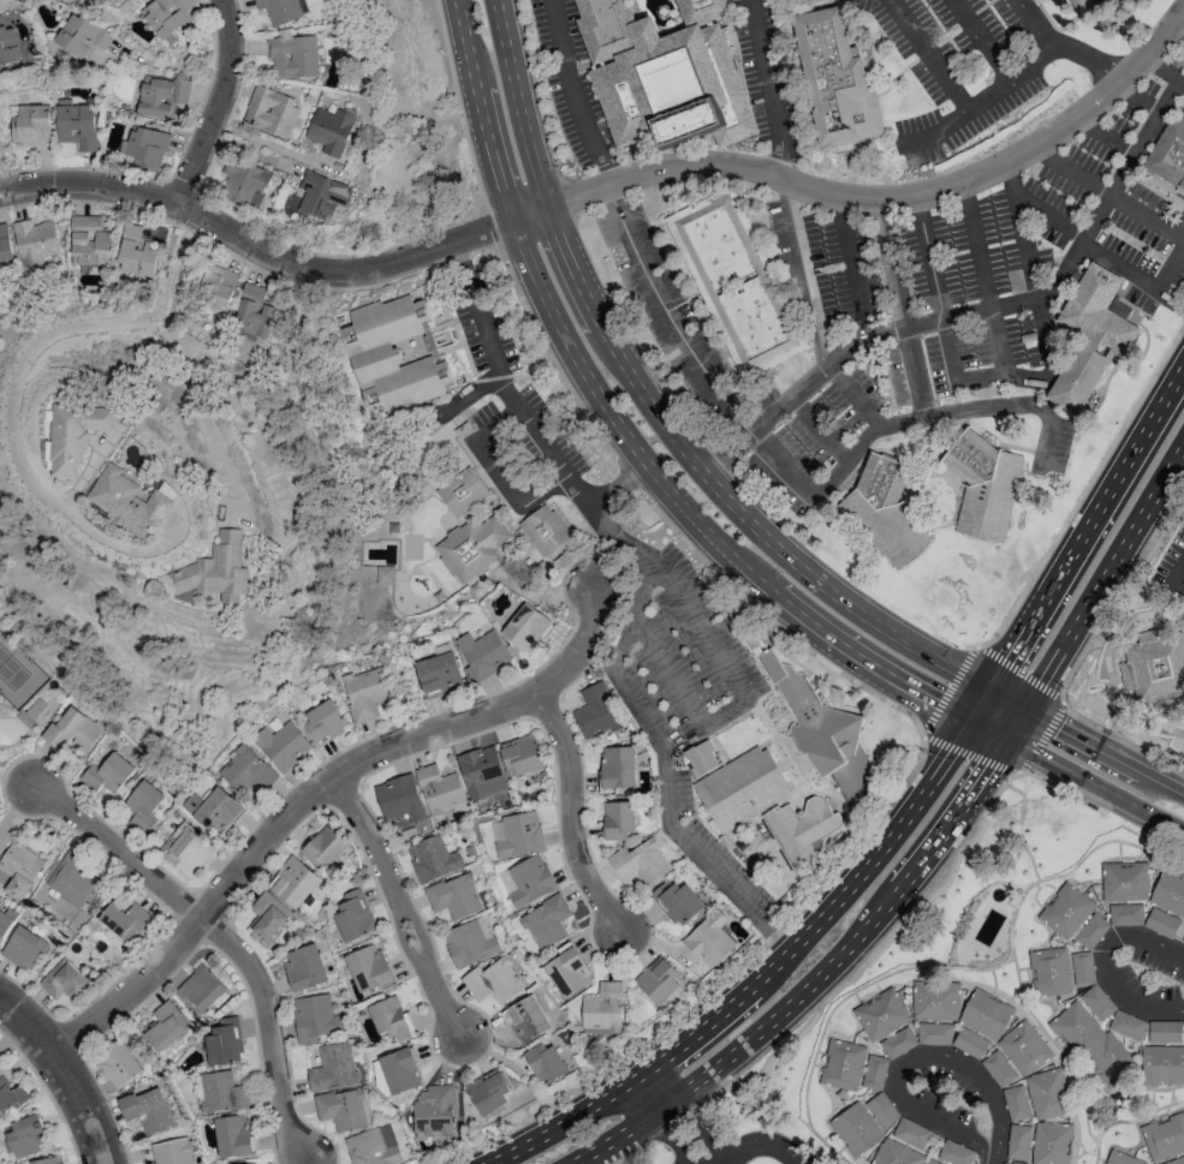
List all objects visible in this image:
building: (801, 1)
building: (1082, 5)
building: (279, 10)
road: (1183, 14)
building: (166, 16)
road: (1030, 25)
building: (82, 36)
road: (981, 41)
building: (7, 46)
road: (927, 55)
building: (292, 56)
road: (1089, 59)
road: (169, 65)
road: (1162, 68)
building: (664, 70)
road: (767, 76)
building: (835, 79)
road: (1180, 80)
road: (573, 94)
building: (160, 96)
road: (457, 103)
road: (219, 105)
road: (975, 106)
building: (269, 112)
building: (28, 125)
building: (75, 125)
building: (329, 130)
building: (145, 148)
road: (1042, 153)
building: (1168, 155)
road: (777, 165)
road: (2, 180)
road: (1010, 180)
building: (244, 183)
road: (609, 193)
road: (963, 196)
road: (875, 197)
road: (1115, 199)
road: (917, 203)
road: (1049, 214)
road: (487, 228)
building: (34, 241)
building: (88, 241)
building: (5, 245)
road: (256, 249)
building: (136, 251)
road: (327, 255)
road: (258, 265)
road: (852, 265)
road: (1119, 268)
road: (1171, 271)
road: (803, 274)
building: (736, 283)
building: (214, 288)
road: (334, 288)
road: (1035, 289)
road: (987, 292)
road: (938, 298)
road: (902, 308)
building: (255, 312)
road: (975, 312)
road: (672, 322)
building: (1090, 336)
building: (391, 357)
road: (995, 377)
road: (17, 384)
road: (853, 398)
road: (652, 410)
road: (520, 413)
road: (941, 414)
road: (202, 416)
road: (619, 428)
road: (820, 430)
building: (77, 435)
road: (781, 461)
road: (496, 473)
building: (986, 487)
road: (1083, 489)
building: (462, 493)
building: (132, 500)
building: (886, 511)
building: (543, 530)
road: (1079, 545)
building: (471, 548)
building: (213, 572)
building: (383, 575)
road: (1102, 575)
road: (1177, 575)
road: (1177, 591)
building: (525, 627)
building: (481, 653)
road: (1082, 653)
building: (1155, 667)
building: (439, 675)
building: (363, 693)
traffic signals: (989, 693)
road: (1006, 702)
road: (738, 703)
traffic signals: (1023, 710)
building: (31, 711)
building: (595, 711)
traffic signals: (972, 718)
building: (323, 721)
road: (1015, 723)
road: (648, 727)
road: (926, 727)
road: (989, 728)
building: (72, 730)
building: (821, 732)
road: (921, 733)
traffic signals: (1006, 738)
building: (281, 745)
road: (1103, 751)
building: (519, 756)
building: (701, 758)
building: (617, 766)
building: (245, 770)
building: (481, 772)
building: (107, 774)
road: (18, 778)
road: (1052, 784)
road: (1094, 784)
road: (315, 789)
building: (439, 789)
building: (740, 789)
building: (398, 799)
building: (192, 804)
building: (142, 806)
building: (216, 812)
road: (567, 813)
building: (617, 819)
road: (1019, 829)
building: (802, 830)
building: (519, 835)
road: (368, 836)
building: (322, 846)
building: (185, 849)
road: (118, 853)
building: (432, 859)
building: (638, 862)
building: (19, 868)
building: (72, 879)
building: (529, 881)
building: (292, 882)
building: (1124, 882)
building: (1168, 893)
building: (454, 896)
building: (677, 902)
road: (823, 912)
building: (267, 915)
building: (1125, 915)
building: (353, 917)
building: (1073, 917)
building: (124, 920)
building: (5, 923)
building: (546, 923)
building: (1161, 923)
road: (1010, 936)
road: (418, 937)
building: (708, 939)
road: (855, 939)
road: (405, 943)
building: (469, 943)
building: (23, 949)
road: (1107, 962)
building: (304, 967)
building: (368, 968)
building: (1082, 968)
building: (567, 972)
building: (1049, 973)
building: (658, 980)
building: (63, 981)
building: (494, 981)
building: (200, 990)
road: (835, 990)
building: (934, 1001)
building: (1096, 1002)
road: (837, 1004)
road: (444, 1008)
building: (602, 1008)
building: (880, 1014)
building: (984, 1014)
building: (314, 1019)
building: (388, 1019)
building: (525, 1020)
building: (1183, 1021)
building: (1125, 1025)
building: (163, 1027)
road: (268, 1032)
building: (1164, 1032)
building: (933, 1034)
building: (224, 1043)
building: (897, 1043)
building: (969, 1043)
building: (1091, 1044)
building: (1023, 1049)
building: (0, 1059)
road: (910, 1059)
building: (546, 1063)
building: (118, 1064)
building: (841, 1065)
building: (1162, 1065)
building: (332, 1068)
building: (998, 1069)
building: (400, 1072)
road: (65, 1073)
building: (874, 1073)
road: (654, 1091)
building: (488, 1092)
building: (220, 1093)
building: (1047, 1094)
building: (10, 1096)
building: (1016, 1103)
building: (344, 1109)
building: (147, 1110)
building: (881, 1110)
building: (434, 1112)
road: (1136, 1120)
road: (572, 1122)
building: (856, 1129)
building: (910, 1133)
road: (688, 1134)
road: (621, 1135)
building: (24, 1136)
building: (232, 1136)
building: (1164, 1136)
building: (1018, 1142)
building: (1051, 1142)
road: (757, 1145)
building: (373, 1146)
building: (172, 1152)
road: (1095, 1152)
building: (896, 1153)
building: (956, 1153)
road: (990, 1156)
road: (635, 1157)
building: (1120, 1158)
building: (48, 1160)
building: (1176, 1160)
building: (932, 1162)
building: (1005, 1163)

